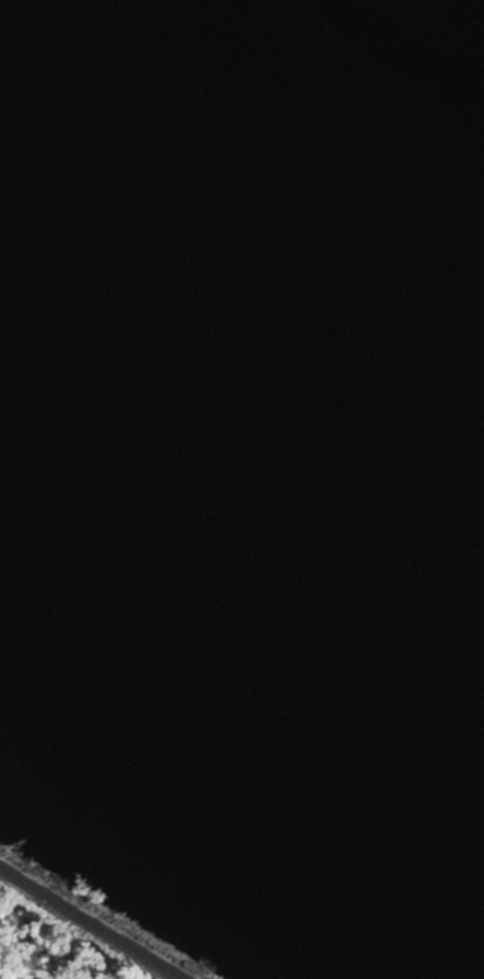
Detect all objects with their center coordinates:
railway: (89, 922)

